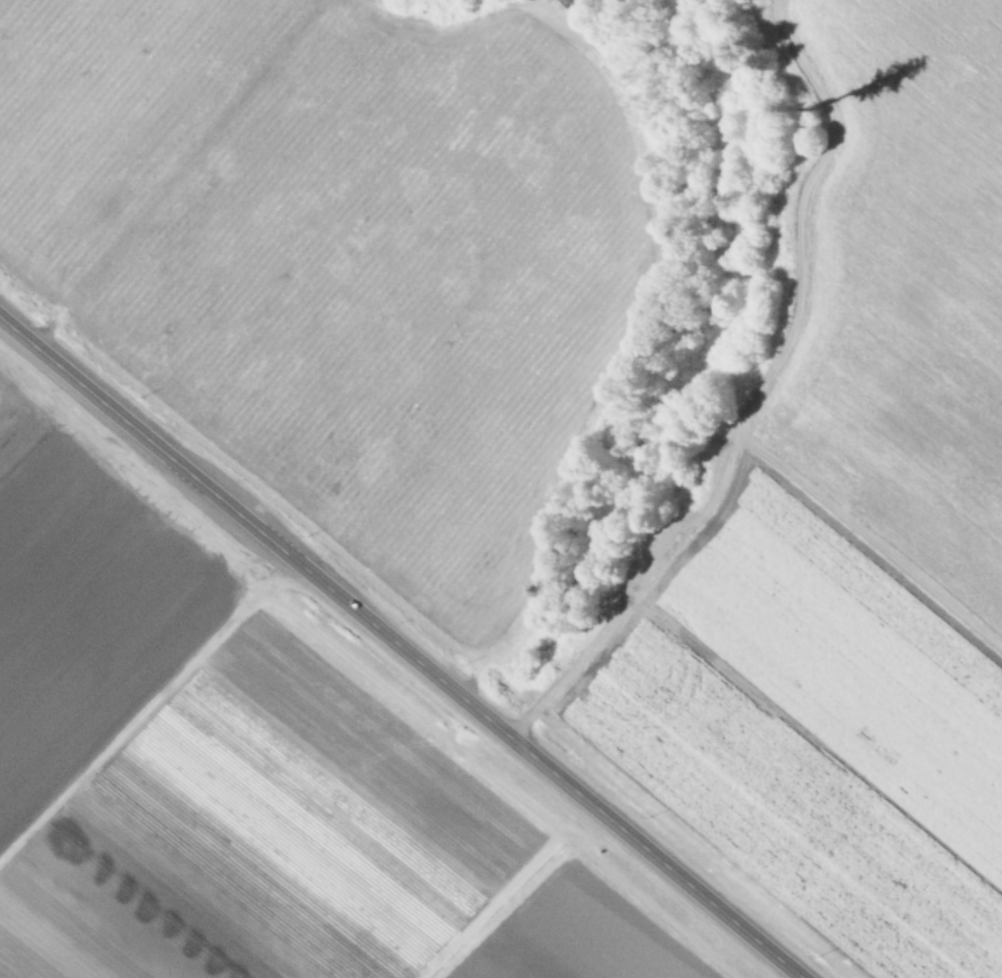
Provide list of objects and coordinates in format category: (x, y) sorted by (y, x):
crop: (582, 389)
road: (751, 392)
road: (400, 648)
crop: (257, 775)

